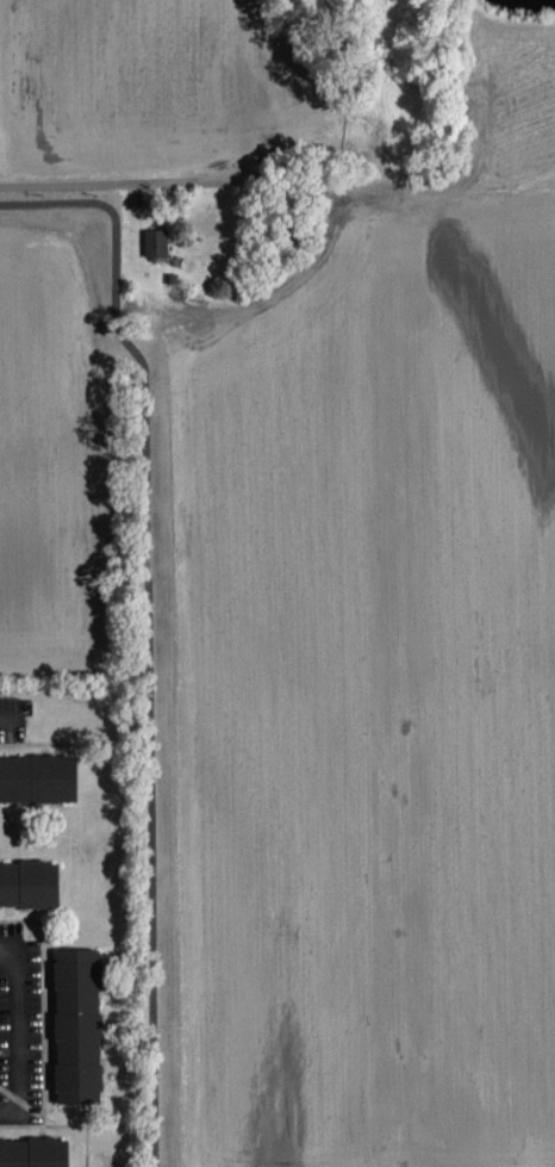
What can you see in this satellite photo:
road: (225, 180)
building: (155, 246)
road: (150, 623)
road: (6, 720)
building: (38, 776)
building: (30, 882)
building: (79, 1024)
road: (17, 1033)
building: (33, 1153)

